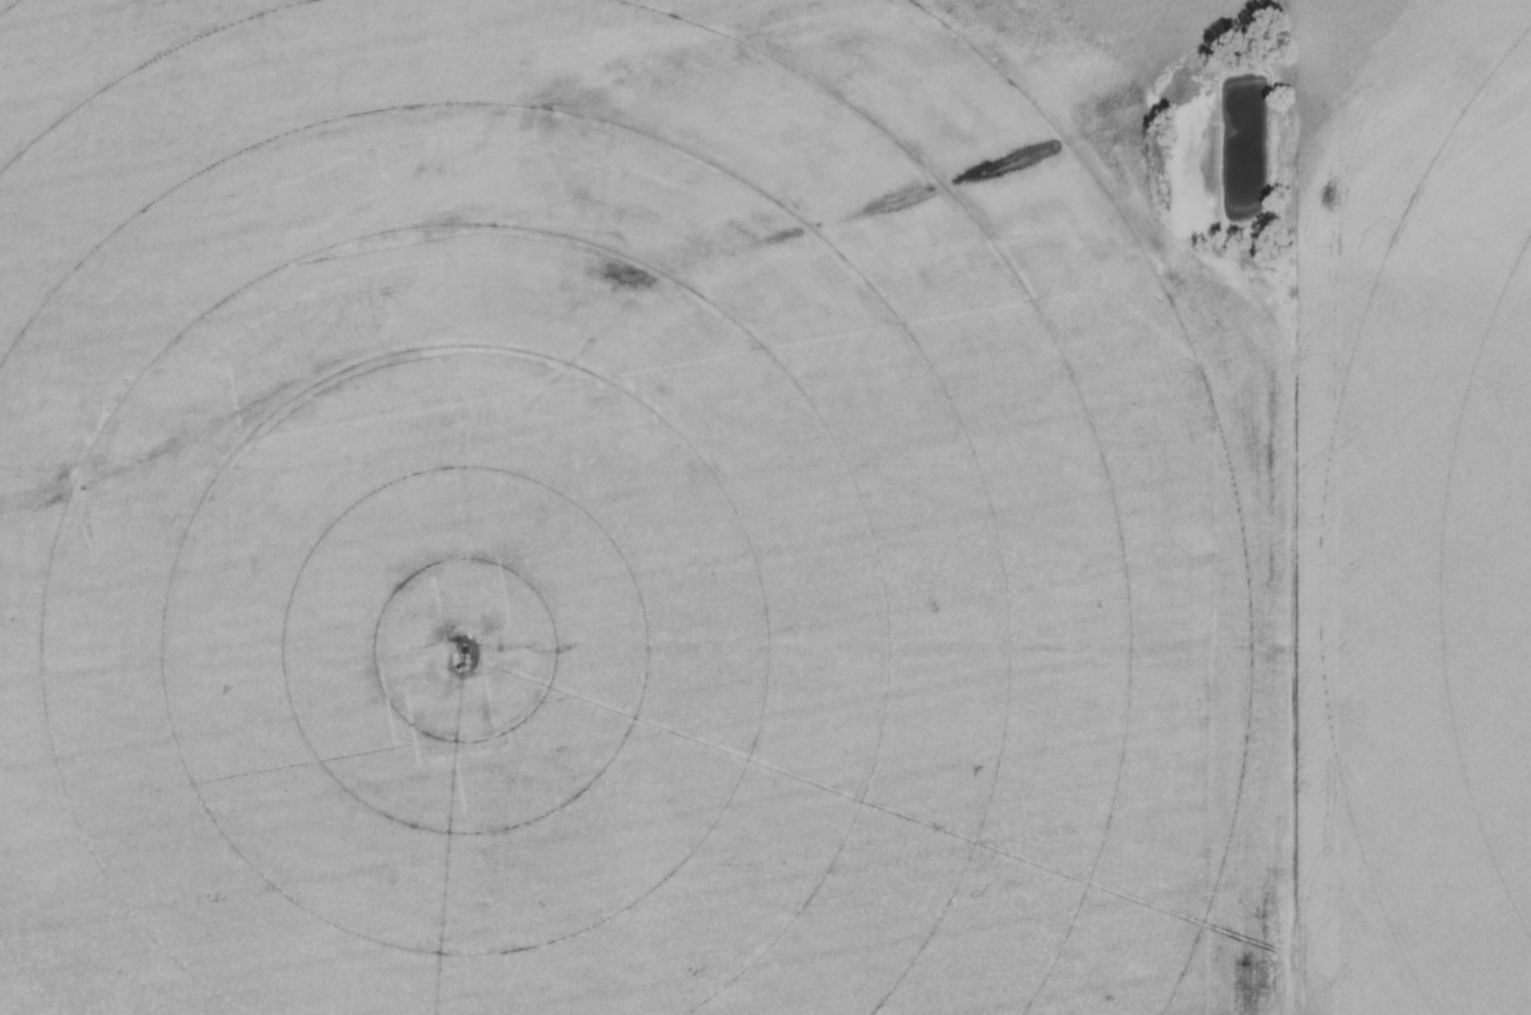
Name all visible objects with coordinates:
crop: (765, 507)

